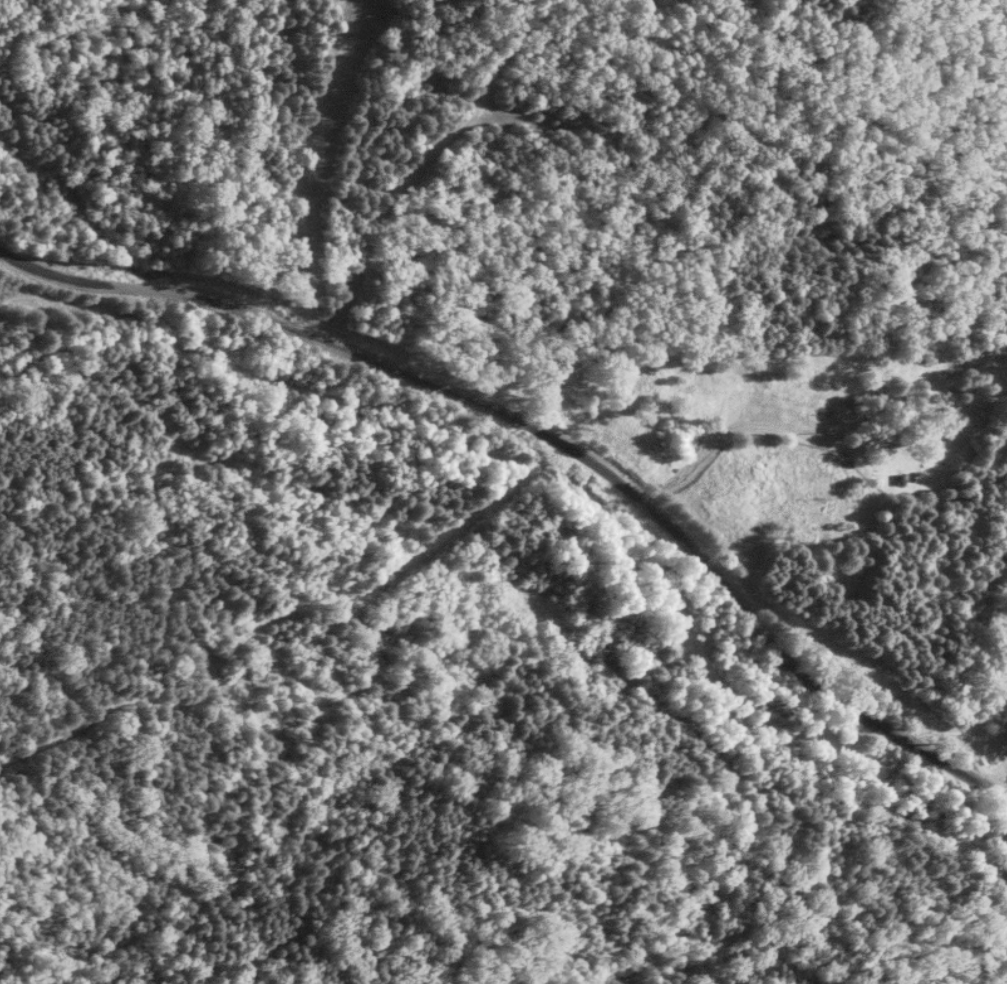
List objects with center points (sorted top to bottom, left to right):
road: (415, 164)
road: (801, 434)
road: (552, 435)

